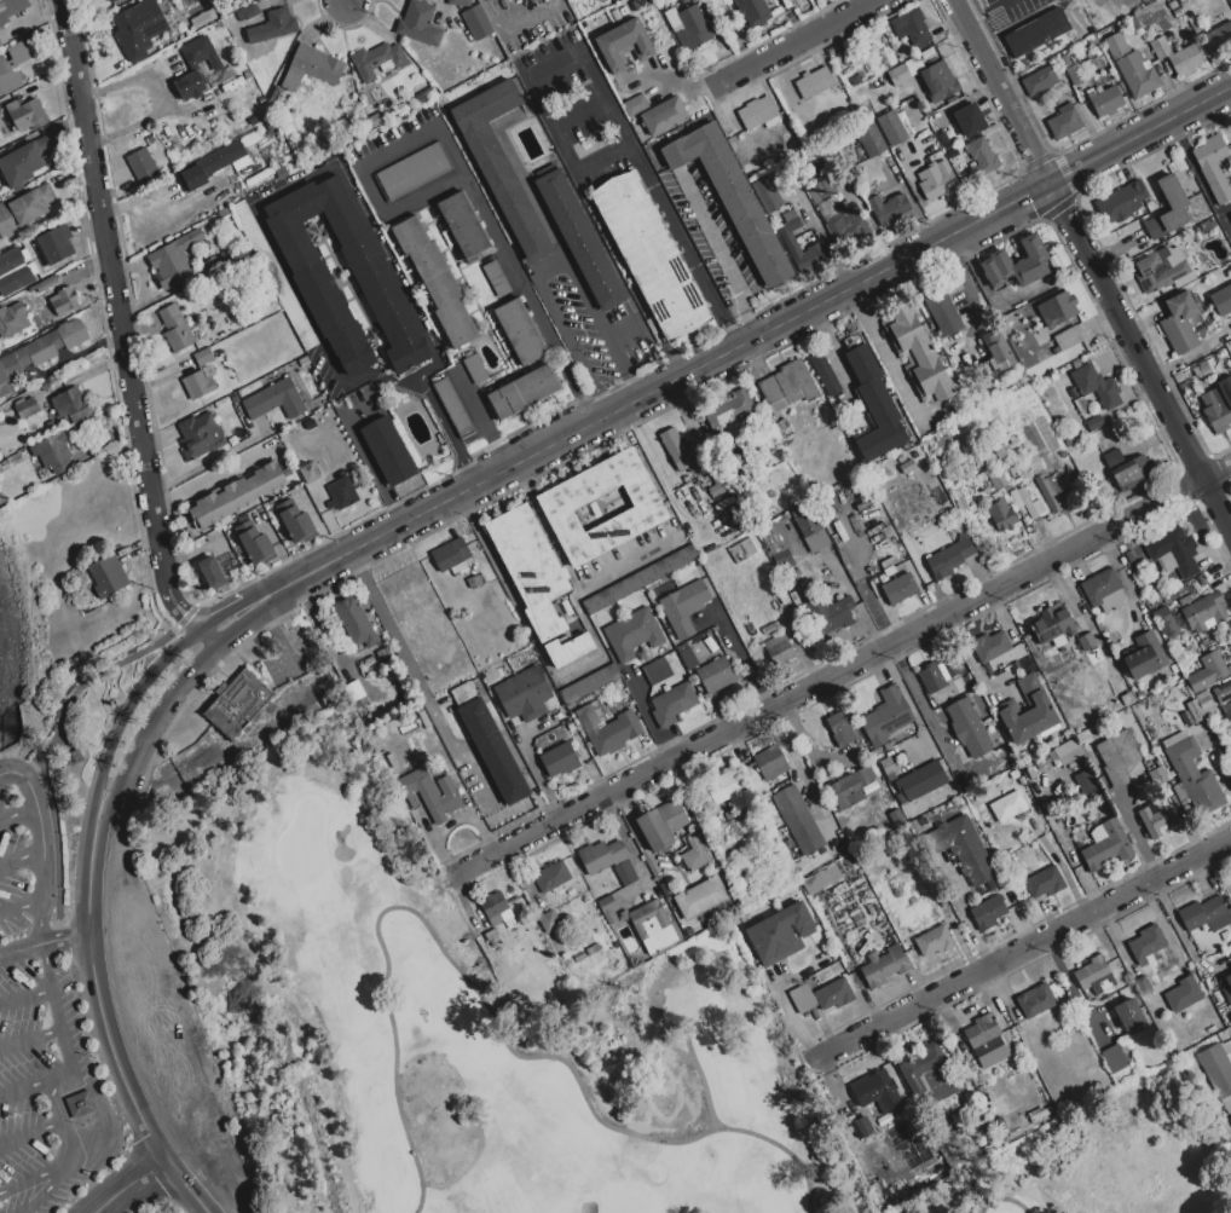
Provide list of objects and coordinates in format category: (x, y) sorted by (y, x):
building: (110, 0)
building: (486, 0)
building: (489, 0)
building: (533, 1)
road: (343, 2)
building: (458, 2)
building: (753, 11)
building: (247, 13)
building: (8, 15)
building: (1216, 18)
building: (1133, 19)
building: (202, 21)
building: (476, 23)
building: (418, 24)
building: (273, 25)
road: (515, 27)
building: (688, 27)
building: (138, 29)
building: (913, 29)
building: (1035, 33)
building: (1219, 37)
road: (792, 44)
building: (624, 45)
building: (22, 51)
building: (832, 51)
building: (201, 53)
building: (1177, 56)
building: (377, 60)
building: (913, 65)
building: (311, 67)
building: (1132, 67)
building: (1071, 70)
building: (898, 74)
building: (8, 76)
building: (854, 80)
building: (877, 81)
building: (940, 81)
building: (1040, 81)
building: (814, 82)
building: (189, 86)
road: (999, 91)
road: (1229, 91)
building: (272, 93)
building: (426, 97)
road: (606, 99)
building: (1105, 100)
building: (635, 105)
building: (757, 112)
building: (25, 114)
road: (580, 114)
building: (664, 116)
building: (254, 120)
building: (970, 120)
building: (1063, 122)
road: (554, 126)
building: (271, 128)
building: (892, 128)
building: (359, 132)
road: (1139, 134)
building: (871, 139)
building: (149, 140)
building: (982, 156)
building: (1229, 156)
building: (27, 162)
building: (213, 164)
building: (501, 164)
building: (1213, 166)
building: (143, 167)
building: (414, 171)
building: (281, 173)
road: (461, 175)
building: (936, 180)
building: (822, 184)
building: (224, 190)
road: (279, 192)
building: (767, 195)
building: (733, 198)
building: (1120, 202)
building: (1175, 202)
building: (889, 207)
building: (24, 208)
building: (828, 209)
building: (225, 212)
building: (788, 216)
building: (463, 224)
building: (1206, 225)
building: (848, 227)
building: (1154, 230)
building: (1196, 233)
building: (580, 239)
building: (56, 243)
road: (686, 246)
building: (791, 246)
road: (719, 254)
building: (651, 255)
building: (174, 259)
building: (215, 262)
building: (1016, 264)
road: (550, 268)
building: (13, 271)
building: (1157, 271)
building: (273, 273)
building: (496, 277)
building: (1187, 279)
building: (435, 281)
building: (45, 284)
building: (1221, 299)
building: (64, 301)
road: (115, 301)
building: (1140, 302)
building: (325, 305)
building: (1057, 310)
building: (942, 311)
building: (63, 317)
building: (13, 320)
building: (1183, 322)
building: (175, 329)
building: (520, 331)
building: (73, 333)
road: (622, 333)
building: (1039, 337)
building: (1065, 340)
road: (830, 345)
building: (999, 348)
building: (920, 353)
road: (884, 354)
building: (204, 357)
road: (1139, 358)
building: (27, 359)
building: (304, 362)
building: (474, 368)
road: (699, 368)
building: (1203, 369)
building: (197, 385)
building: (1096, 386)
building: (44, 387)
road: (632, 387)
building: (785, 387)
building: (524, 392)
building: (1073, 392)
building: (235, 399)
building: (274, 400)
building: (873, 402)
road: (600, 404)
building: (71, 405)
building: (1218, 405)
building: (453, 406)
building: (25, 408)
building: (729, 414)
building: (995, 421)
building: (1094, 423)
building: (51, 426)
building: (297, 426)
building: (782, 433)
road: (446, 434)
building: (200, 435)
building: (965, 435)
building: (1067, 441)
building: (938, 443)
building: (925, 444)
building: (1000, 450)
building: (388, 451)
building: (680, 451)
building: (1022, 451)
building: (53, 452)
building: (13, 458)
building: (982, 458)
building: (1112, 458)
building: (901, 460)
building: (4, 463)
road: (369, 464)
building: (1047, 466)
building: (907, 467)
building: (310, 472)
building: (1013, 472)
building: (1131, 474)
building: (686, 479)
building: (999, 480)
building: (1017, 481)
building: (341, 493)
building: (770, 493)
building: (238, 495)
building: (996, 495)
building: (1027, 503)
building: (963, 506)
building: (556, 508)
building: (973, 509)
building: (1002, 515)
building: (807, 520)
building: (296, 522)
building: (773, 538)
building: (817, 541)
building: (256, 545)
building: (742, 550)
building: (1173, 553)
building: (450, 554)
building: (948, 559)
building: (782, 560)
building: (530, 568)
building: (889, 571)
building: (212, 573)
road: (308, 573)
building: (108, 576)
building: (638, 579)
building: (1202, 580)
building: (475, 582)
building: (74, 583)
building: (898, 589)
building: (1103, 590)
road: (254, 596)
building: (872, 605)
building: (682, 608)
road: (206, 612)
building: (1206, 612)
building: (833, 614)
road: (219, 617)
road: (179, 620)
road: (247, 622)
building: (1166, 622)
building: (356, 623)
building: (1052, 626)
building: (631, 634)
road: (208, 639)
building: (1114, 640)
building: (990, 646)
building: (779, 648)
building: (567, 651)
building: (1050, 652)
building: (383, 653)
building: (1096, 655)
building: (1144, 657)
building: (688, 659)
building: (369, 662)
road: (580, 668)
road: (845, 668)
building: (950, 669)
building: (655, 671)
building: (1207, 671)
building: (716, 675)
building: (931, 677)
road: (416, 678)
building: (590, 685)
building: (1223, 691)
building: (524, 694)
building: (237, 703)
building: (672, 705)
building: (1198, 706)
building: (1028, 710)
building: (1226, 710)
road: (125, 712)
building: (885, 716)
road: (152, 726)
building: (607, 727)
building: (967, 728)
building: (839, 729)
building: (491, 745)
building: (1060, 753)
building: (1119, 756)
building: (74, 757)
building: (559, 761)
building: (770, 763)
building: (1082, 763)
building: (1070, 764)
building: (886, 766)
road: (801, 774)
building: (1192, 774)
building: (1157, 776)
building: (921, 780)
building: (1085, 782)
building: (855, 787)
building: (722, 792)
building: (429, 793)
building: (1010, 807)
road: (16, 811)
building: (1157, 818)
building: (798, 820)
building: (661, 824)
road: (1137, 838)
building: (1106, 845)
building: (960, 848)
road: (42, 849)
building: (695, 854)
building: (601, 855)
road: (21, 856)
building: (626, 873)
building: (551, 876)
building: (821, 879)
building: (1045, 883)
building: (701, 897)
building: (1011, 902)
road: (21, 906)
building: (608, 908)
building: (497, 909)
building: (988, 913)
building: (1206, 915)
building: (549, 920)
road: (969, 920)
building: (653, 926)
building: (780, 934)
building: (492, 938)
building: (934, 941)
road: (44, 943)
building: (1146, 946)
road: (1024, 948)
building: (593, 949)
building: (884, 966)
building: (1094, 976)
building: (1143, 986)
building: (1227, 988)
road: (51, 994)
building: (1184, 994)
building: (834, 995)
building: (802, 998)
building: (1035, 1001)
building: (1128, 1013)
road: (794, 1018)
road: (104, 1028)
building: (1212, 1029)
park: (458, 1030)
road: (30, 1039)
building: (986, 1041)
building: (1115, 1058)
road: (70, 1069)
building: (1216, 1069)
building: (929, 1075)
building: (875, 1092)
building: (1039, 1114)
building: (1230, 1119)
building: (954, 1120)
building: (861, 1127)
building: (908, 1130)
road: (30, 1133)
road: (71, 1157)
park: (1110, 1161)
building: (868, 1167)
road: (128, 1184)
road: (48, 1189)
building: (879, 1190)

